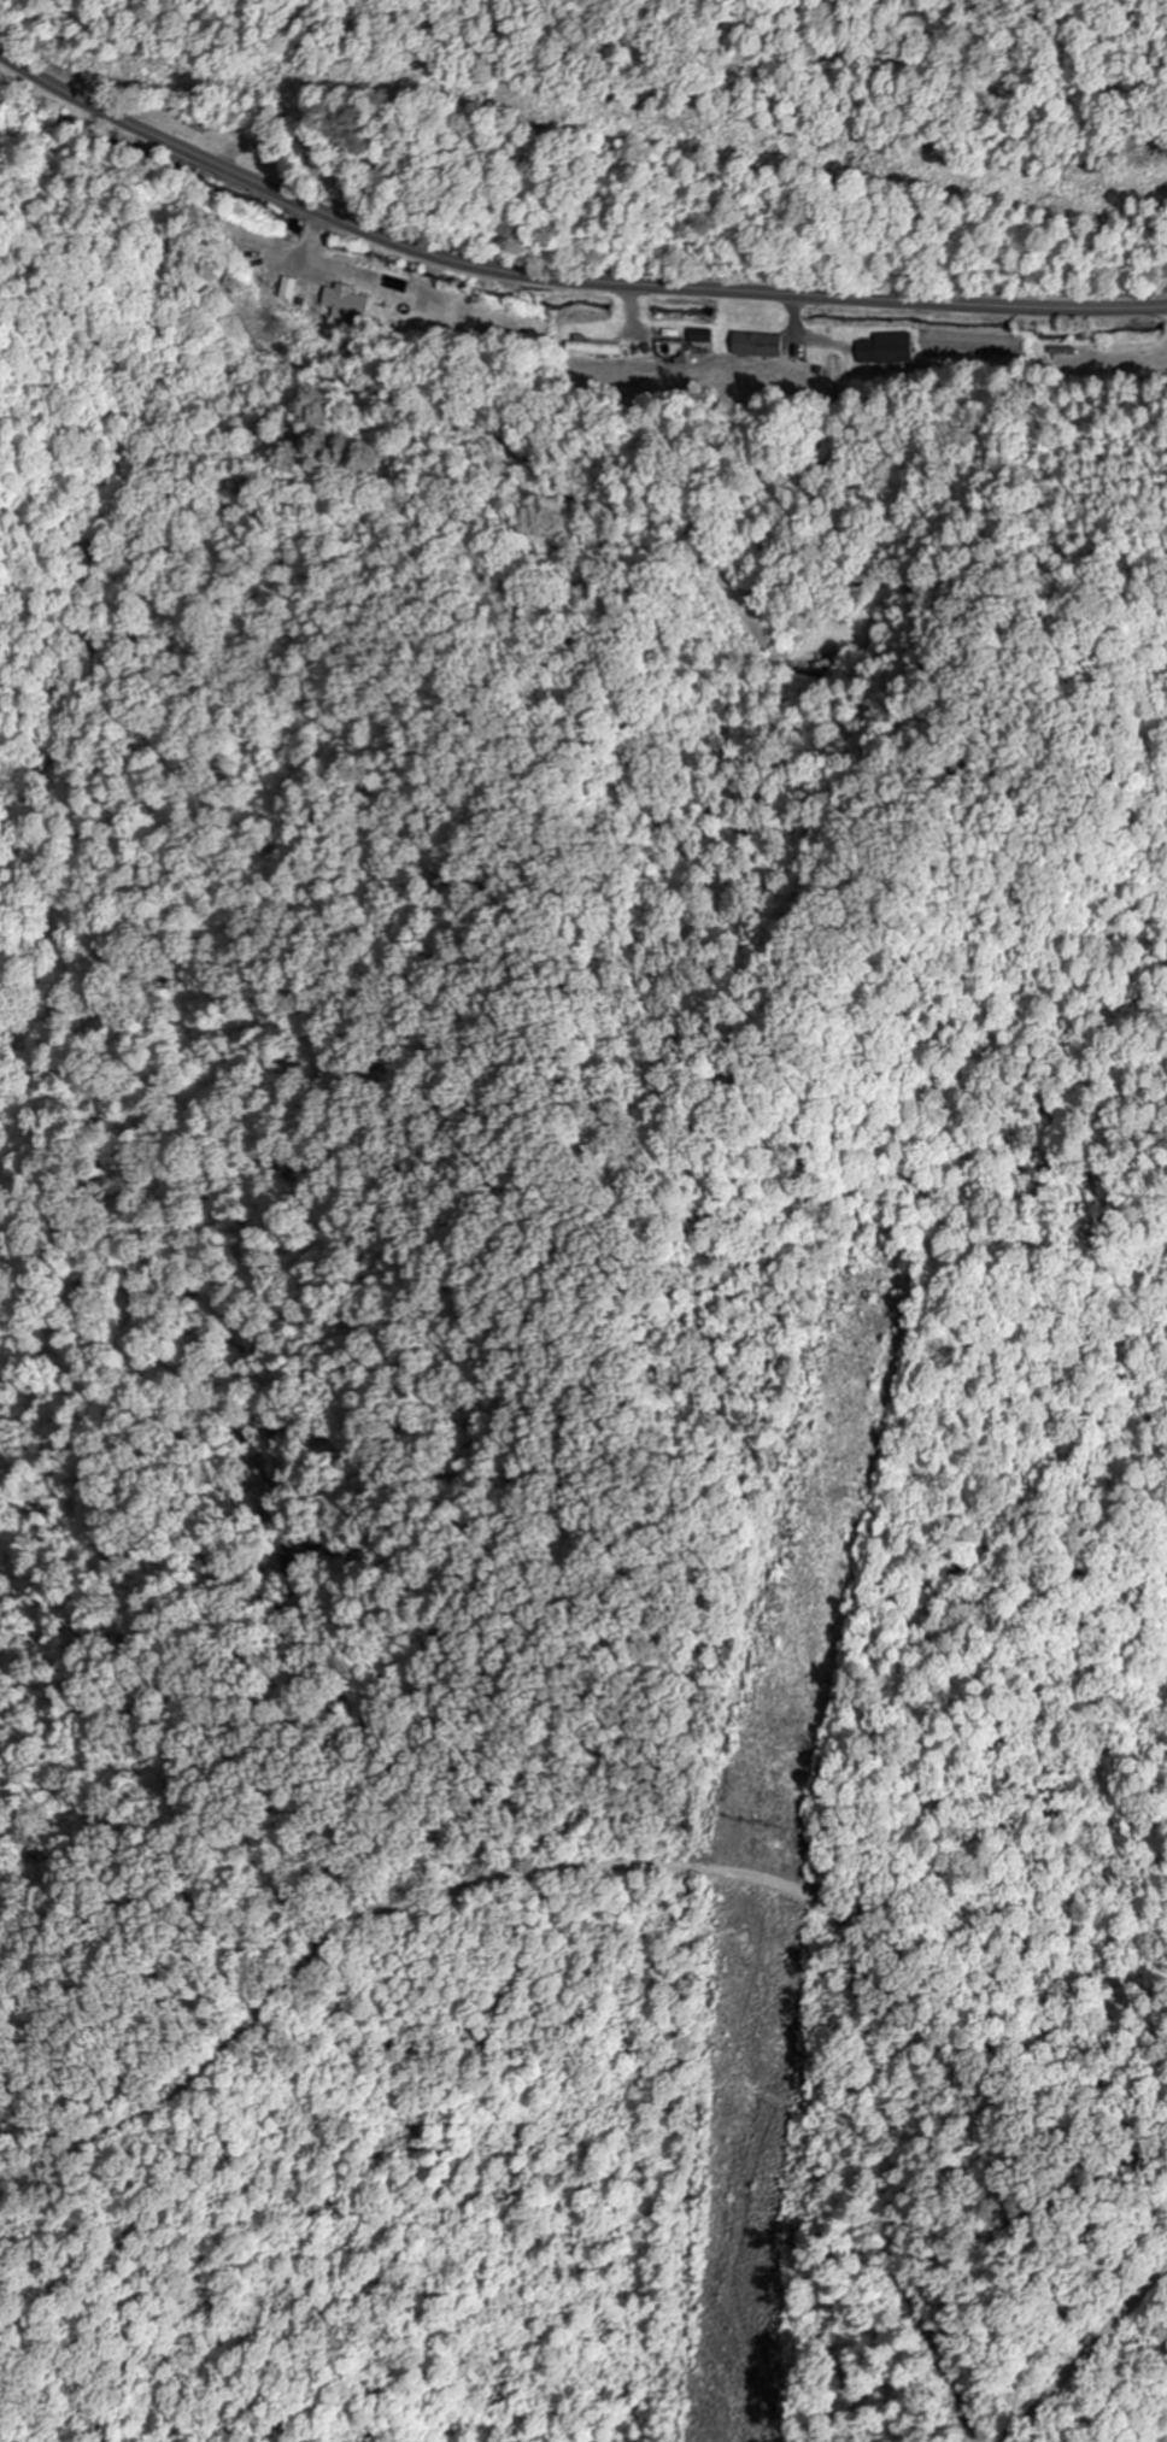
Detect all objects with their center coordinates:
road: (559, 278)
building: (347, 301)
building: (474, 316)
building: (757, 346)
building: (594, 350)

